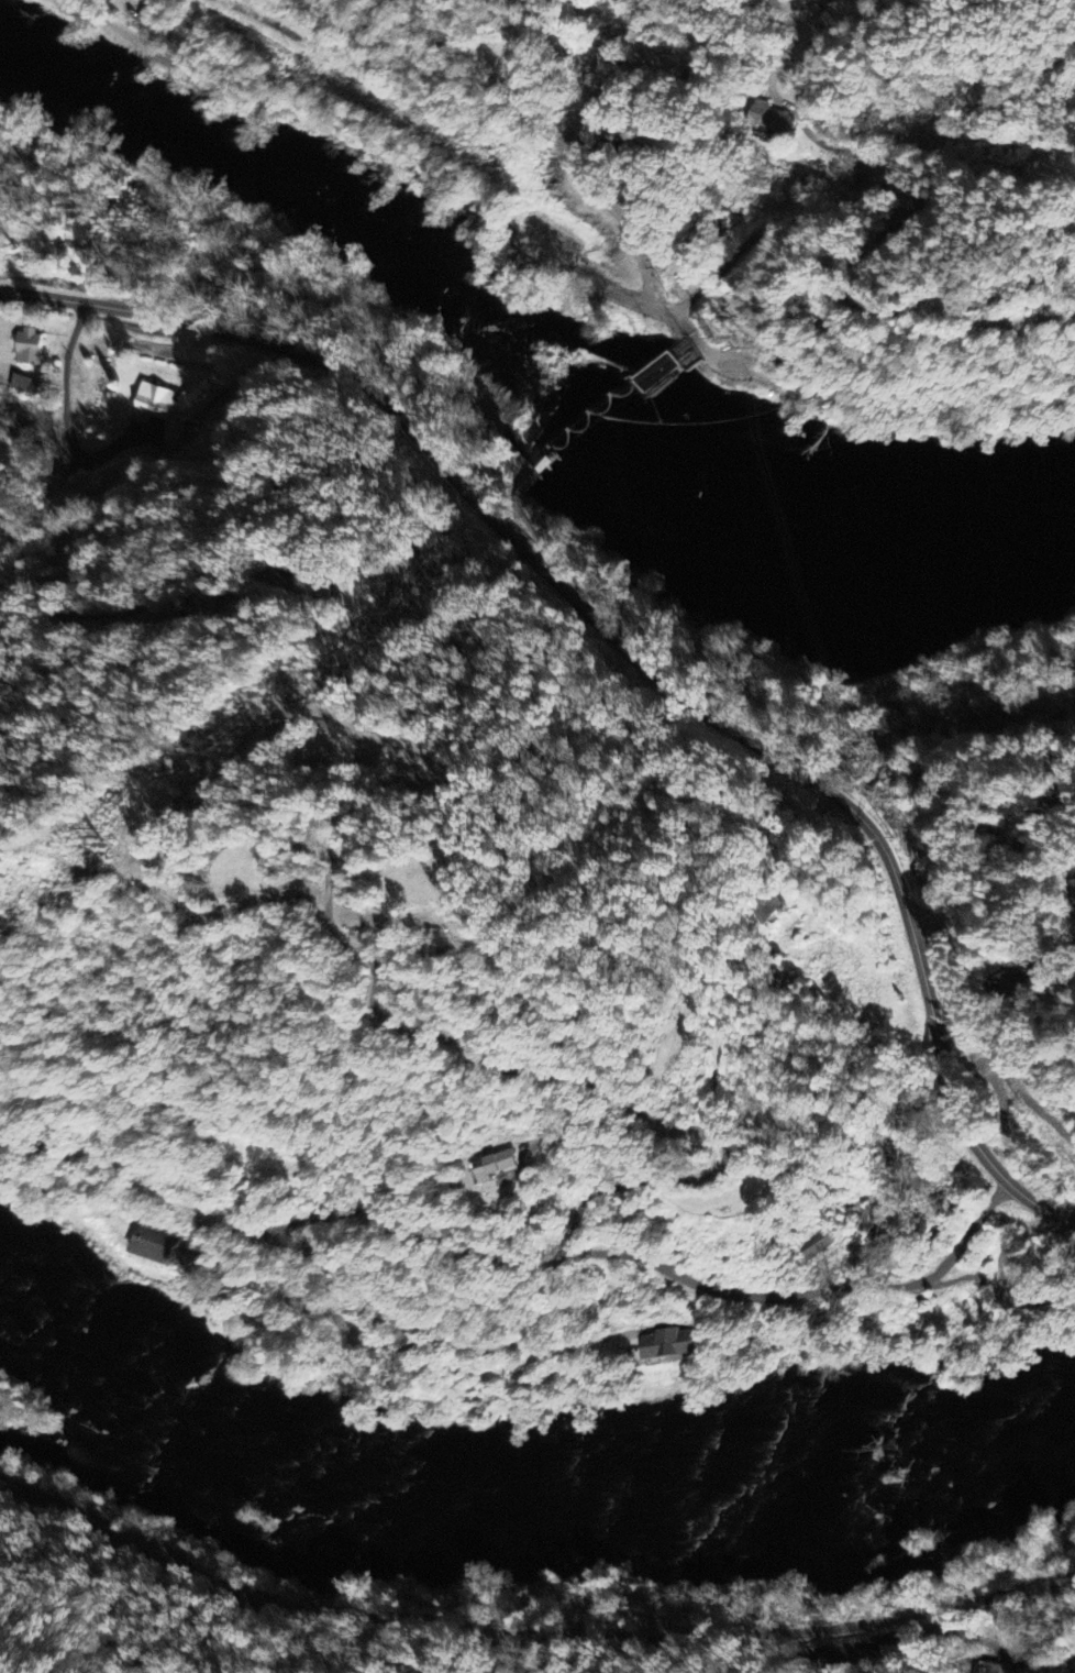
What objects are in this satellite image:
river: (14, 41)
building: (768, 118)
road: (372, 146)
road: (575, 157)
road: (879, 229)
road: (523, 243)
road: (514, 258)
road: (508, 269)
road: (974, 318)
river: (545, 331)
building: (25, 348)
dam: (653, 359)
dam: (614, 366)
building: (660, 370)
building: (22, 386)
power tower: (774, 389)
building: (175, 407)
dam: (580, 426)
power tower: (465, 540)
road: (629, 657)
power tower: (291, 682)
power tower: (855, 703)
power tower: (896, 824)
power tower: (88, 832)
road: (998, 869)
building: (1073, 893)
power tower: (956, 1002)
power tower: (1026, 1102)
building: (489, 1167)
building: (951, 1175)
road: (213, 1215)
building: (816, 1245)
building: (151, 1246)
road: (546, 1262)
building: (664, 1344)
river: (228, 1411)
river: (788, 1460)
railway: (528, 1630)
road: (994, 1654)
building: (984, 1669)

